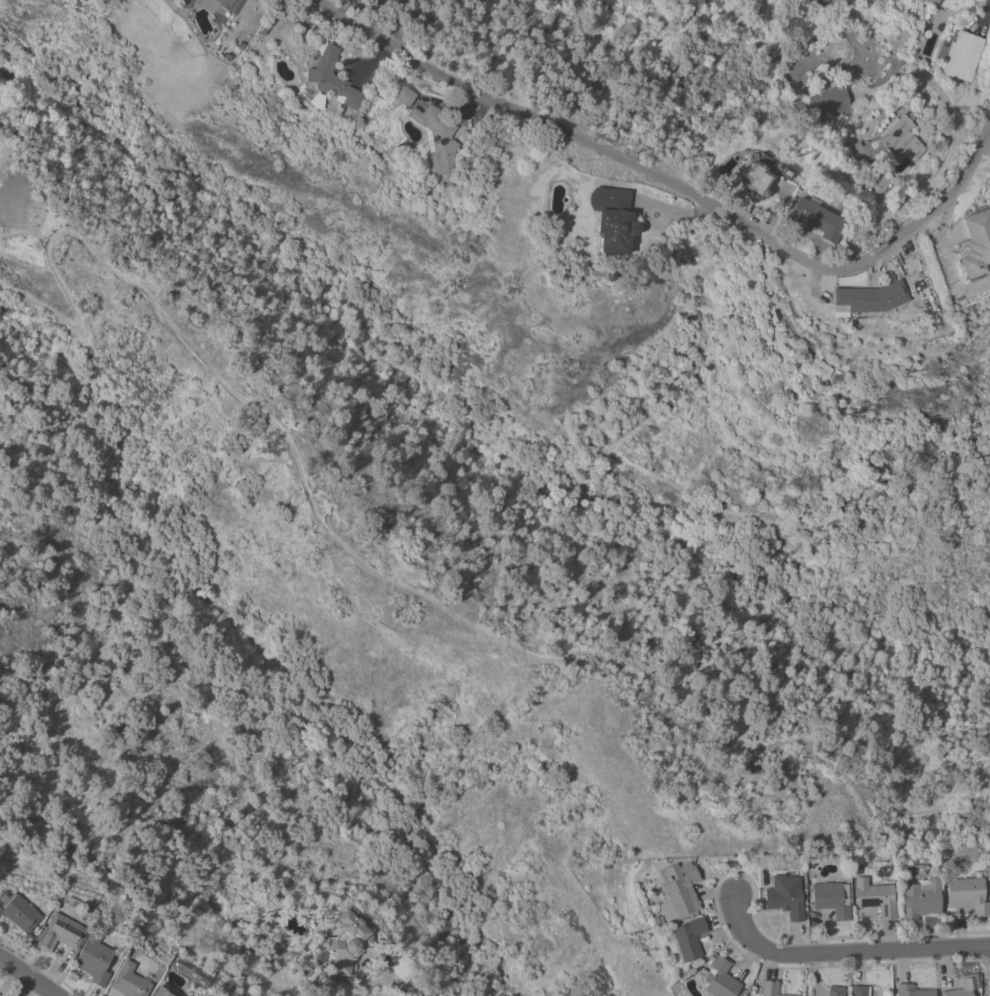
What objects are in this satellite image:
building: (212, 0)
building: (930, 3)
building: (233, 11)
road: (987, 12)
building: (960, 56)
building: (332, 79)
building: (402, 95)
building: (316, 100)
building: (829, 103)
building: (435, 137)
building: (889, 143)
building: (757, 179)
road: (671, 189)
building: (611, 219)
building: (815, 219)
building: (975, 243)
building: (870, 297)
building: (818, 367)
building: (862, 483)
building: (828, 515)
road: (423, 600)
building: (677, 891)
building: (966, 895)
building: (875, 897)
building: (918, 898)
building: (829, 899)
building: (784, 901)
building: (20, 912)
building: (59, 933)
building: (688, 938)
building: (345, 941)
road: (845, 952)
road: (367, 959)
building: (93, 960)
road: (27, 976)
building: (719, 978)
building: (129, 981)
road: (401, 986)
building: (962, 986)
building: (769, 988)
building: (858, 990)
building: (912, 990)
building: (163, 991)
building: (835, 991)

